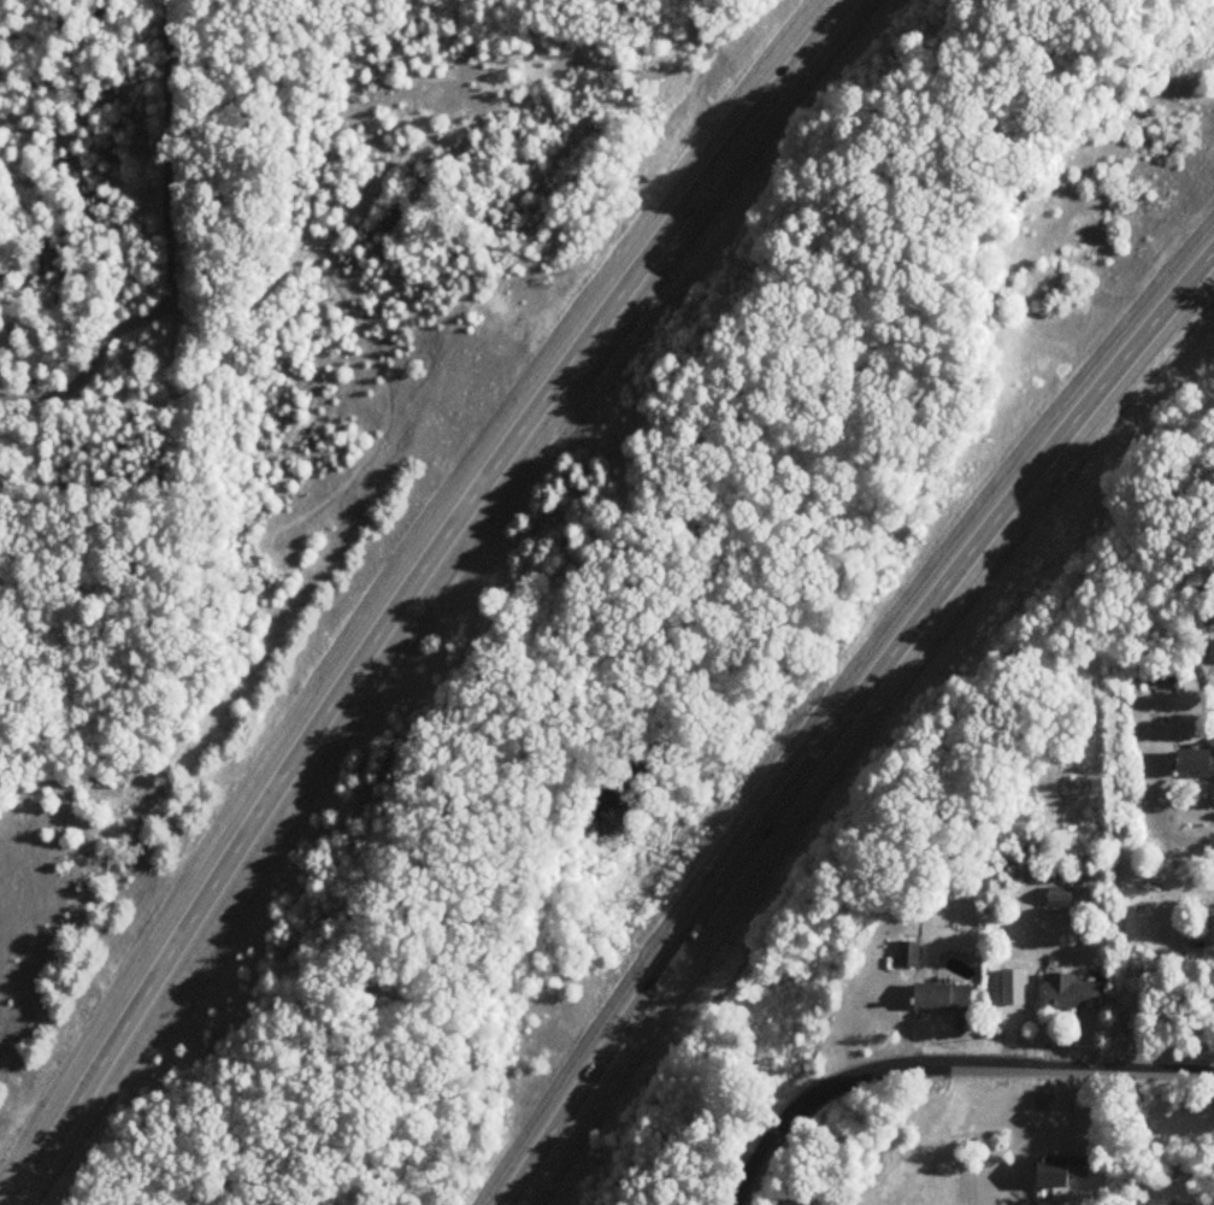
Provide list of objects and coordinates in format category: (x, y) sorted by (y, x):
road: (172, 255)
road: (420, 588)
road: (842, 713)
building: (1196, 764)
building: (909, 954)
building: (1074, 992)
building: (944, 997)
road: (947, 1069)

